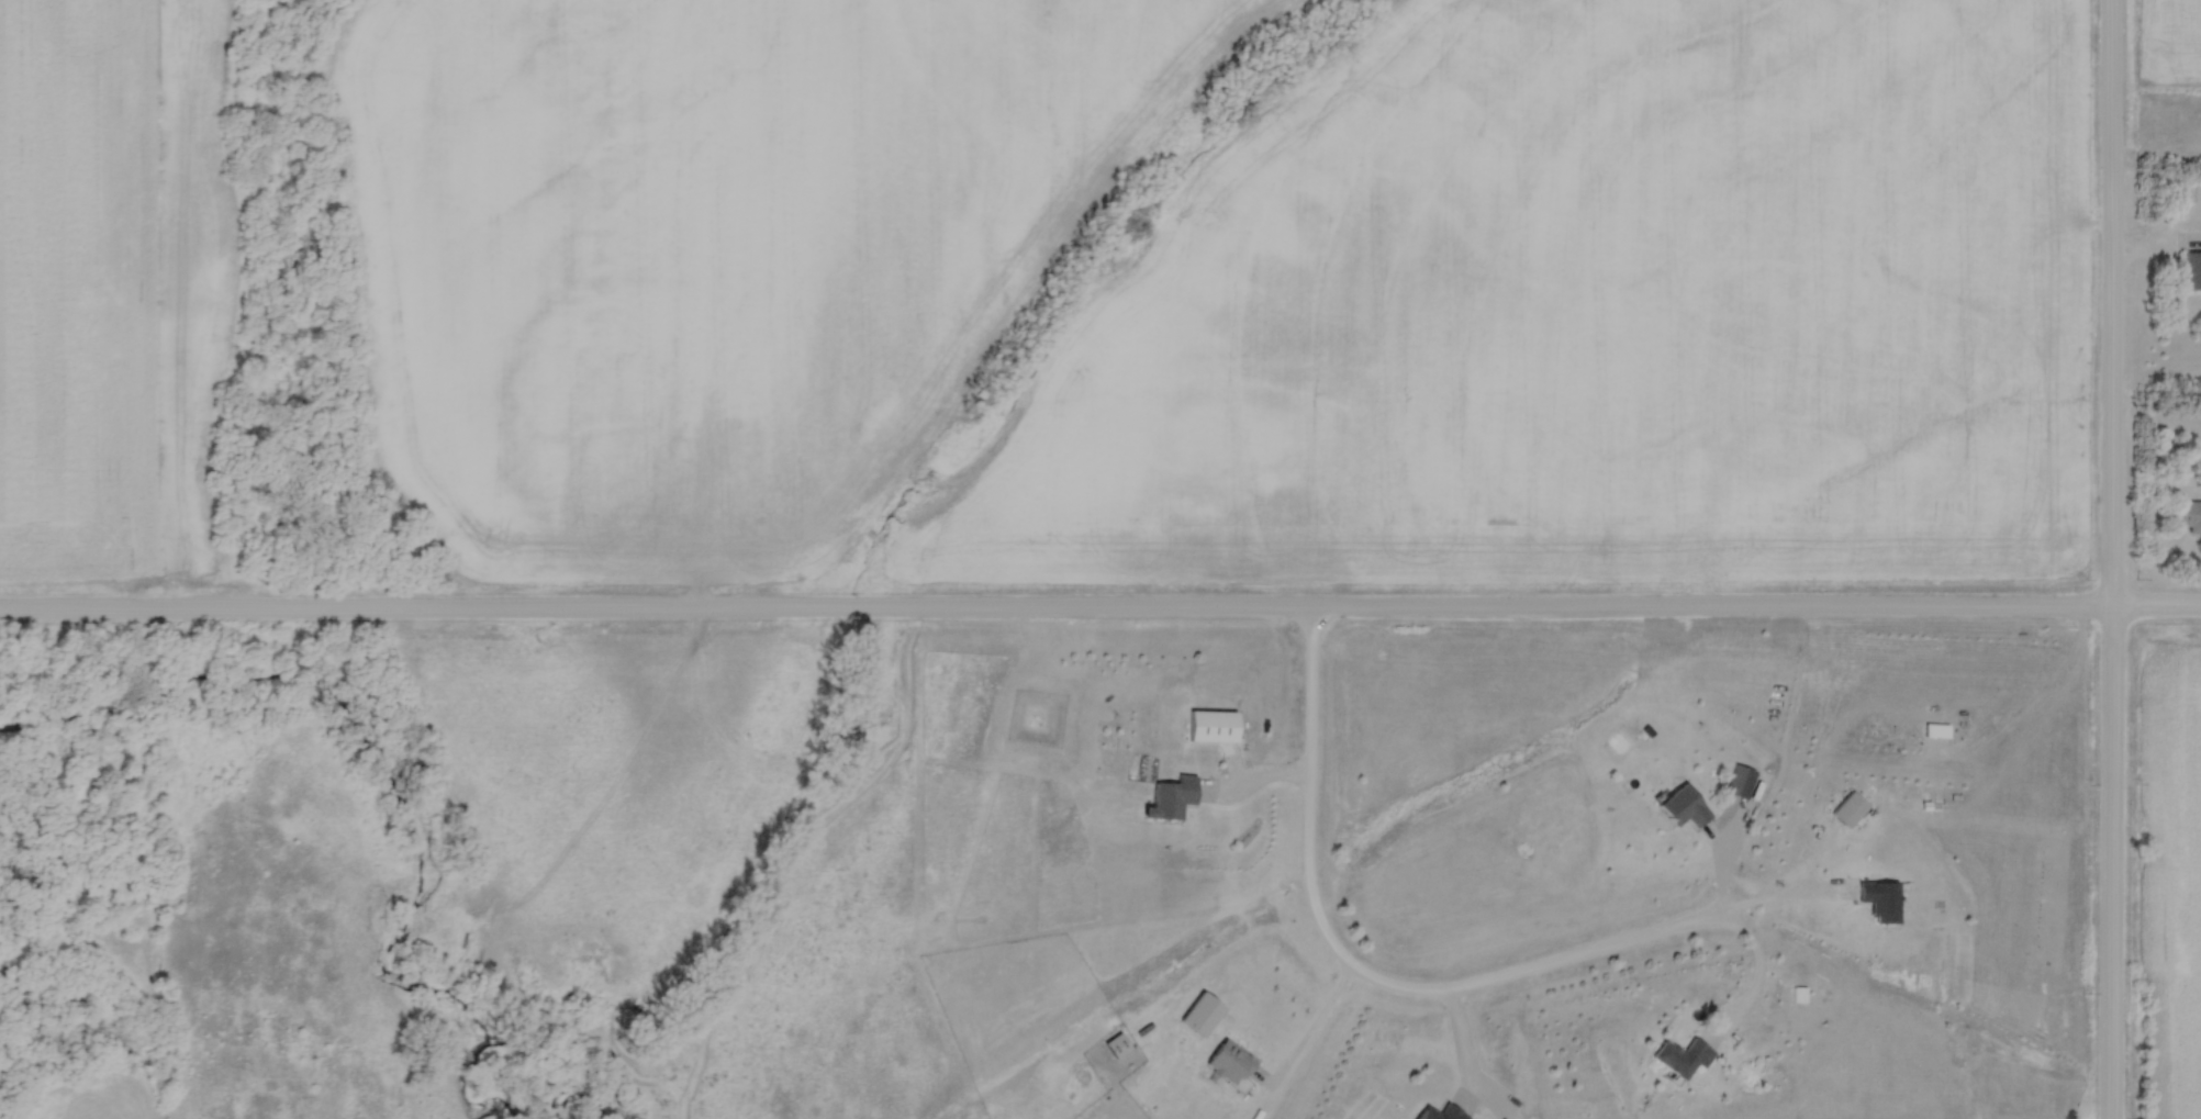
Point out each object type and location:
building: (2192, 270)
building: (2185, 513)
road: (2112, 559)
road: (1100, 604)
building: (1213, 727)
road: (1251, 777)
building: (1741, 782)
building: (1172, 798)
building: (1685, 807)
building: (1850, 810)
road: (1723, 858)
road: (1788, 892)
building: (1881, 900)
road: (1354, 967)
road: (1757, 981)
road: (1312, 1028)
road: (1462, 1047)
building: (1683, 1058)
building: (1230, 1062)
building: (1443, 1114)

